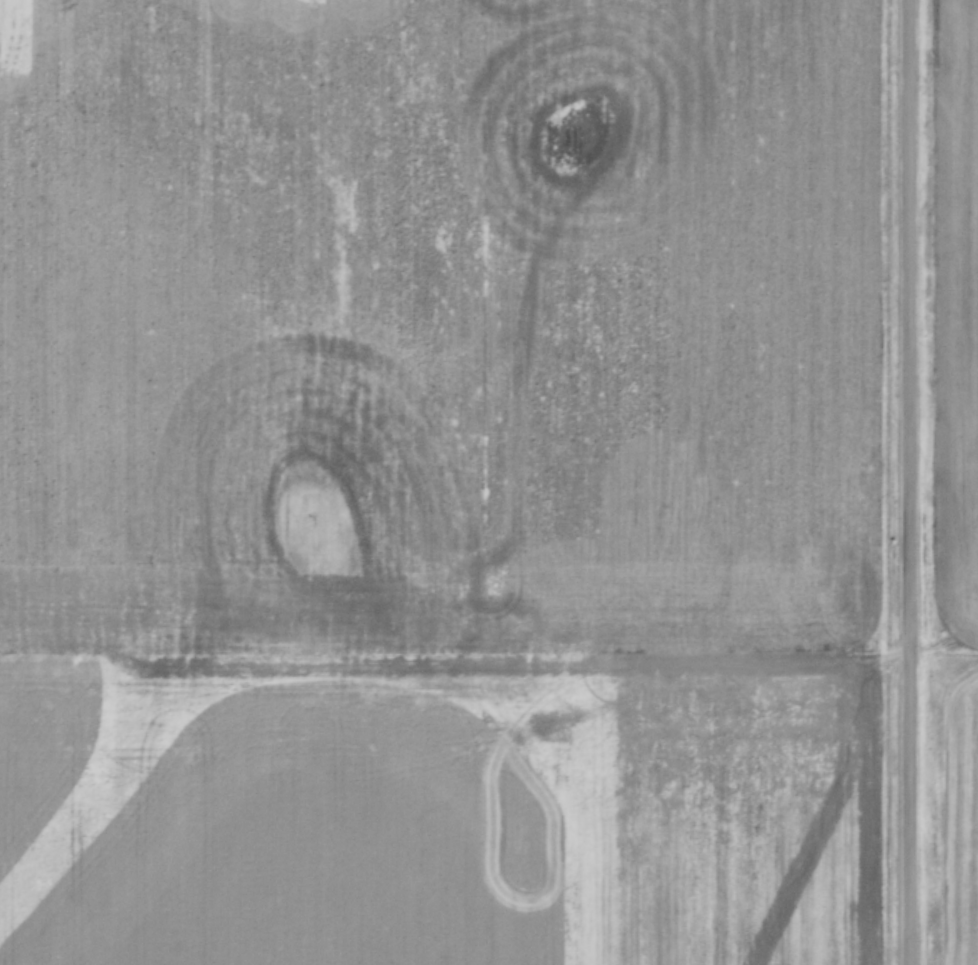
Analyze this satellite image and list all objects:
road: (912, 482)

